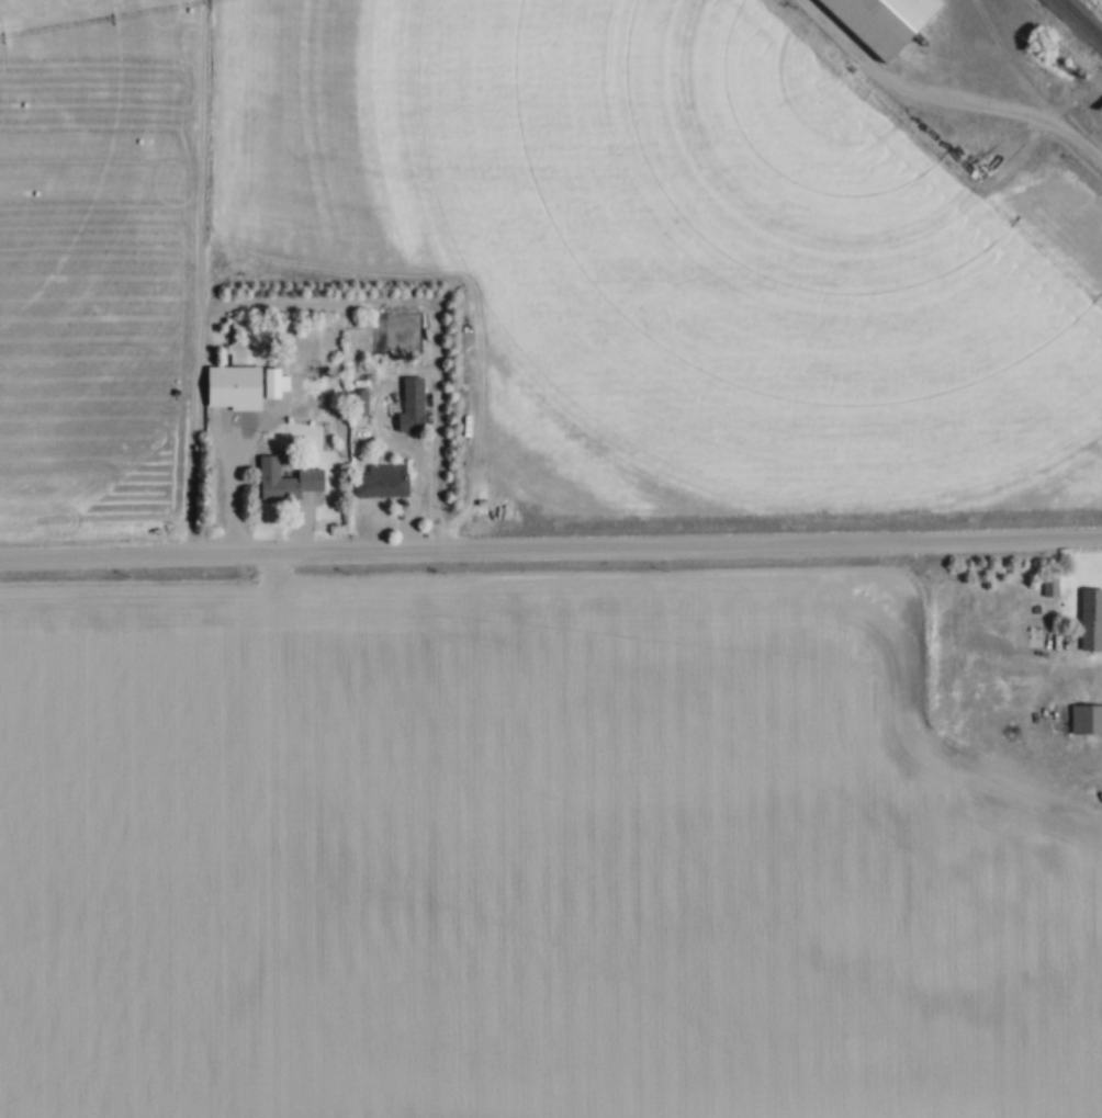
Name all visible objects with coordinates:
railway: (1082, 18)
building: (879, 21)
building: (230, 392)
building: (358, 402)
building: (412, 405)
building: (381, 481)
building: (286, 482)
road: (550, 545)
building: (1049, 585)
building: (1090, 618)
building: (1086, 718)
building: (951, 749)

